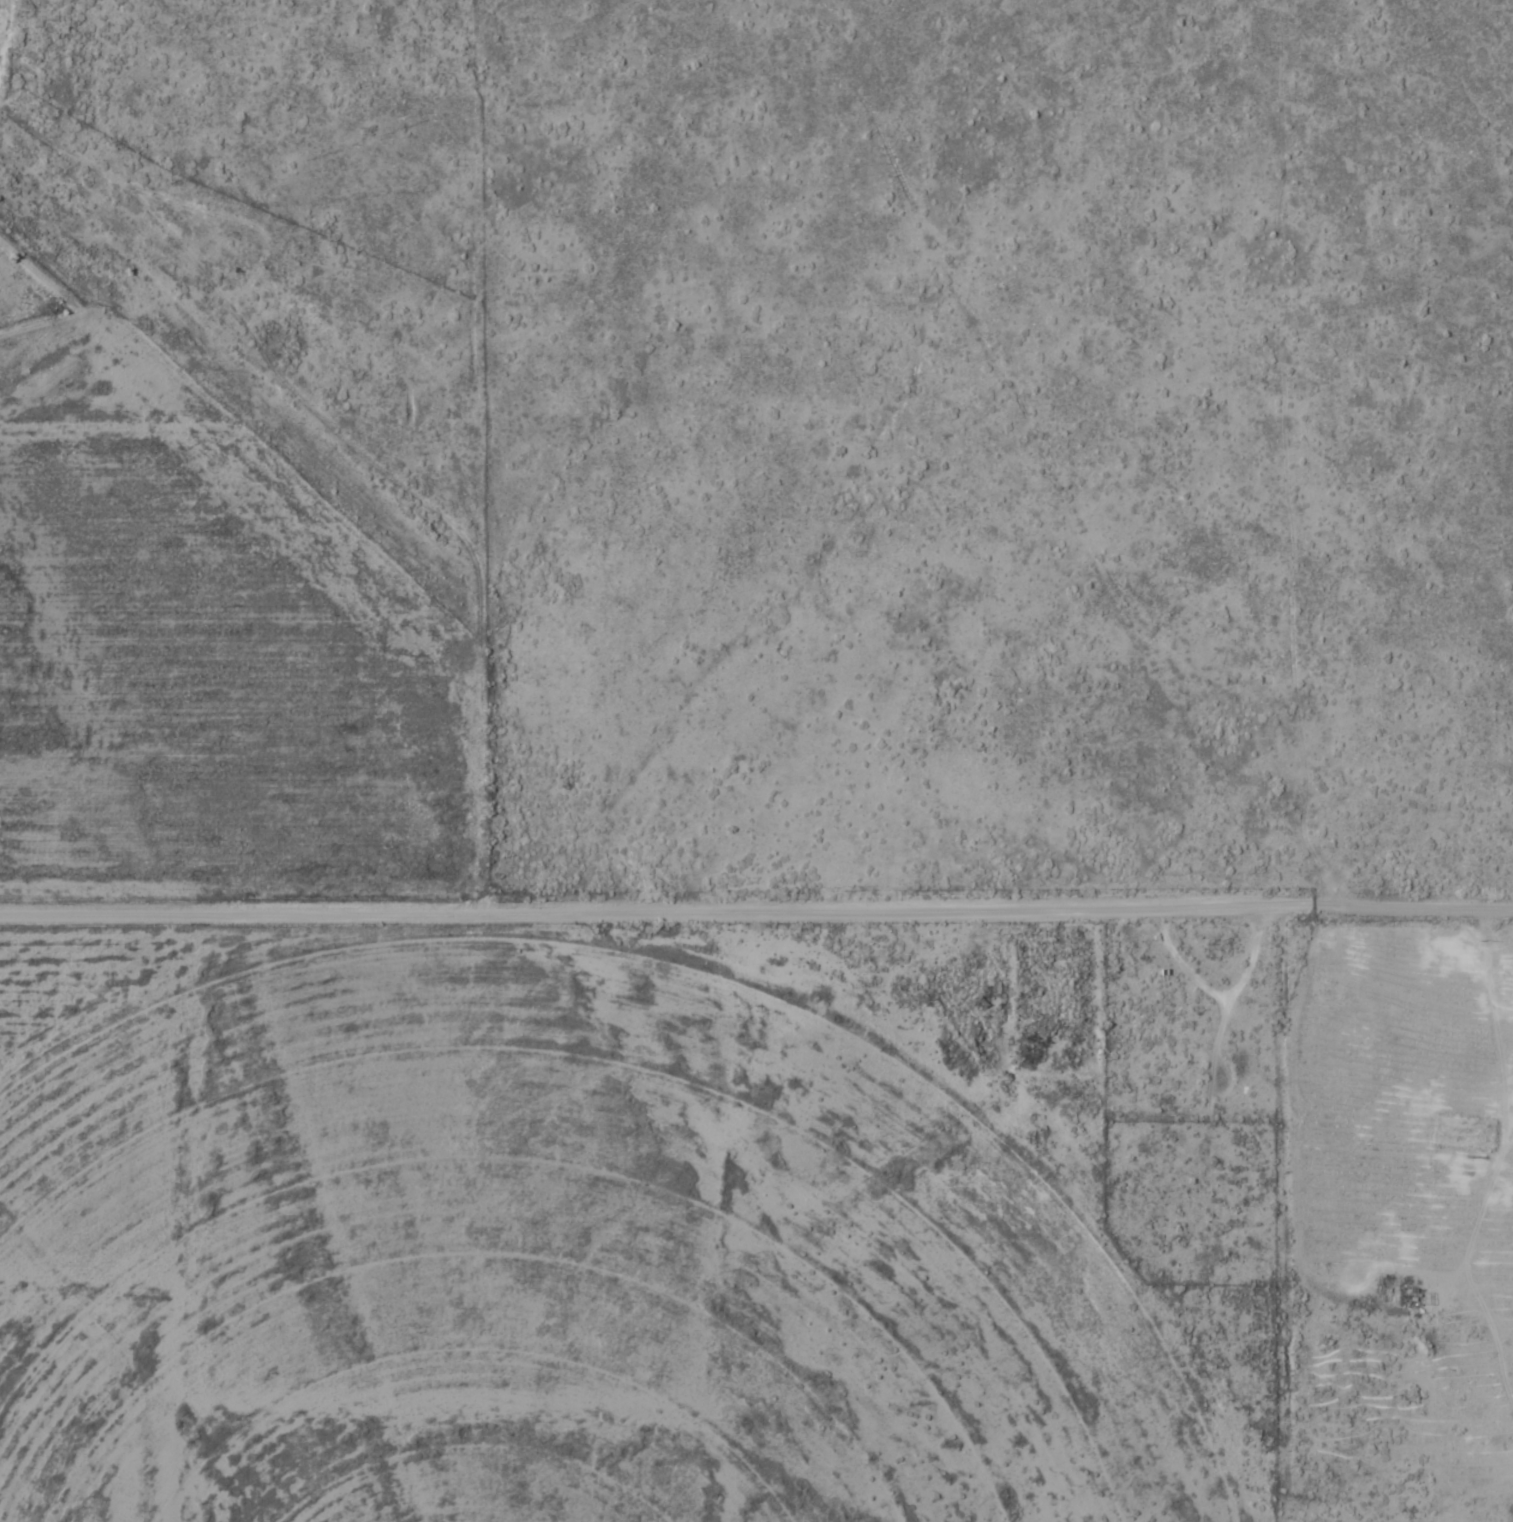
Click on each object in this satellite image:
road: (756, 910)
road: (1314, 1212)

